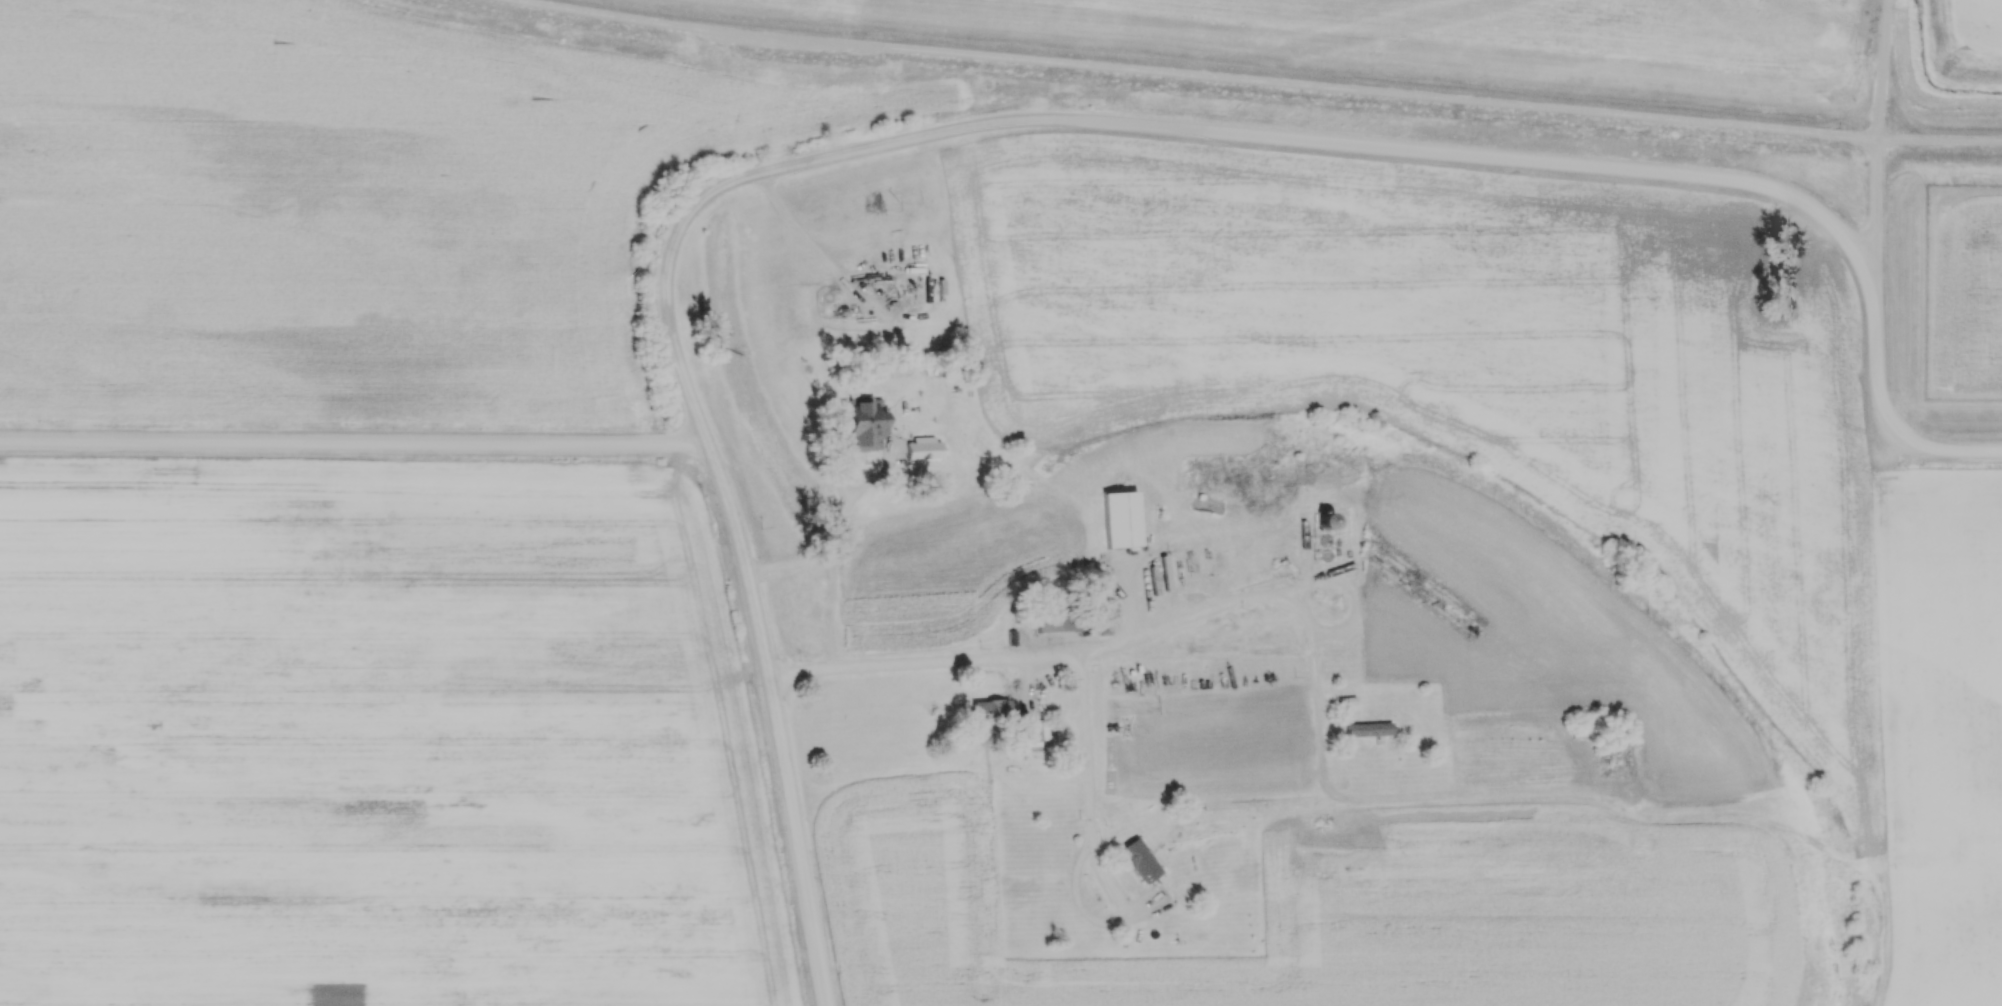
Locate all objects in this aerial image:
road: (1290, 71)
road: (1266, 135)
road: (354, 443)
road: (1963, 450)
road: (829, 532)
road: (1258, 596)
road: (769, 722)
road: (1080, 746)
road: (1112, 913)

